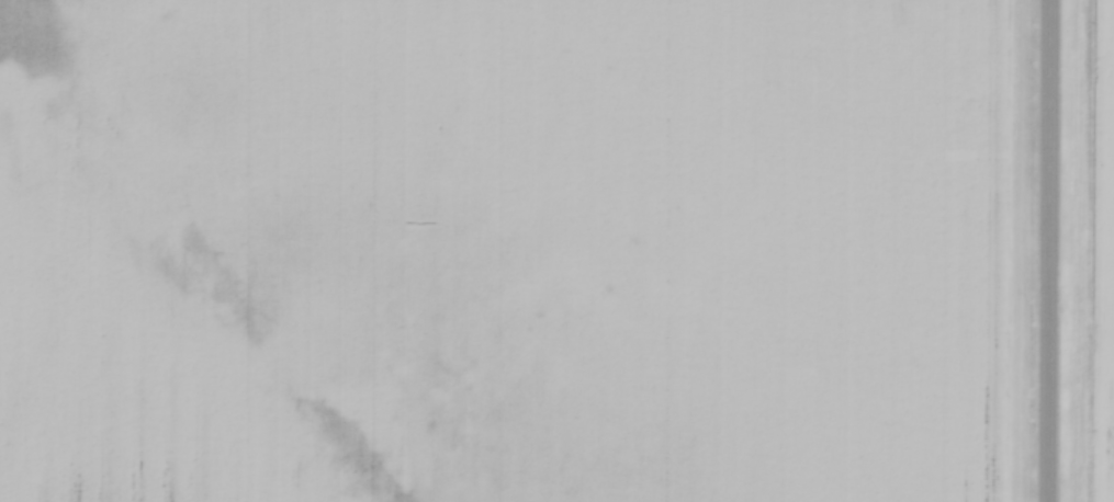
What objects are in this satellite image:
road: (1053, 251)

